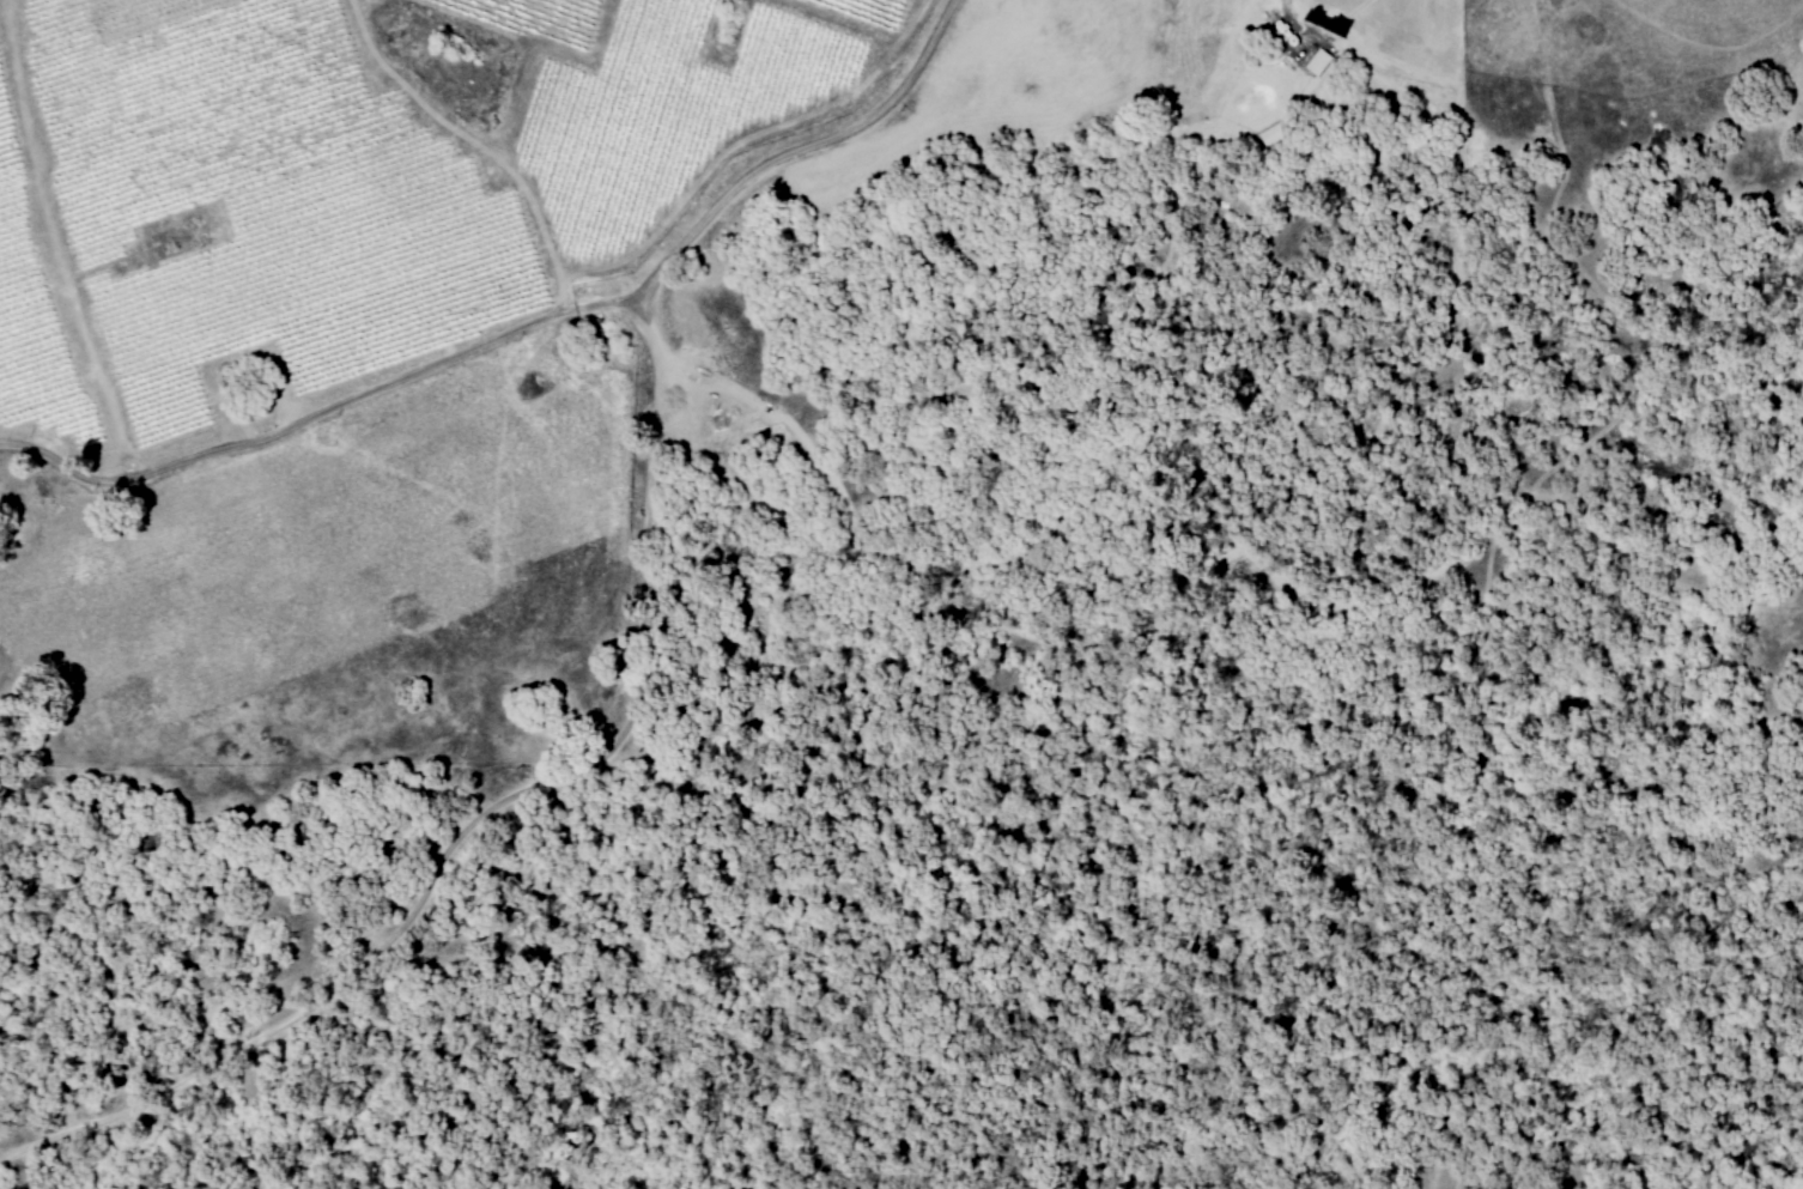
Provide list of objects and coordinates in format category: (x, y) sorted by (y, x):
road: (650, 578)

